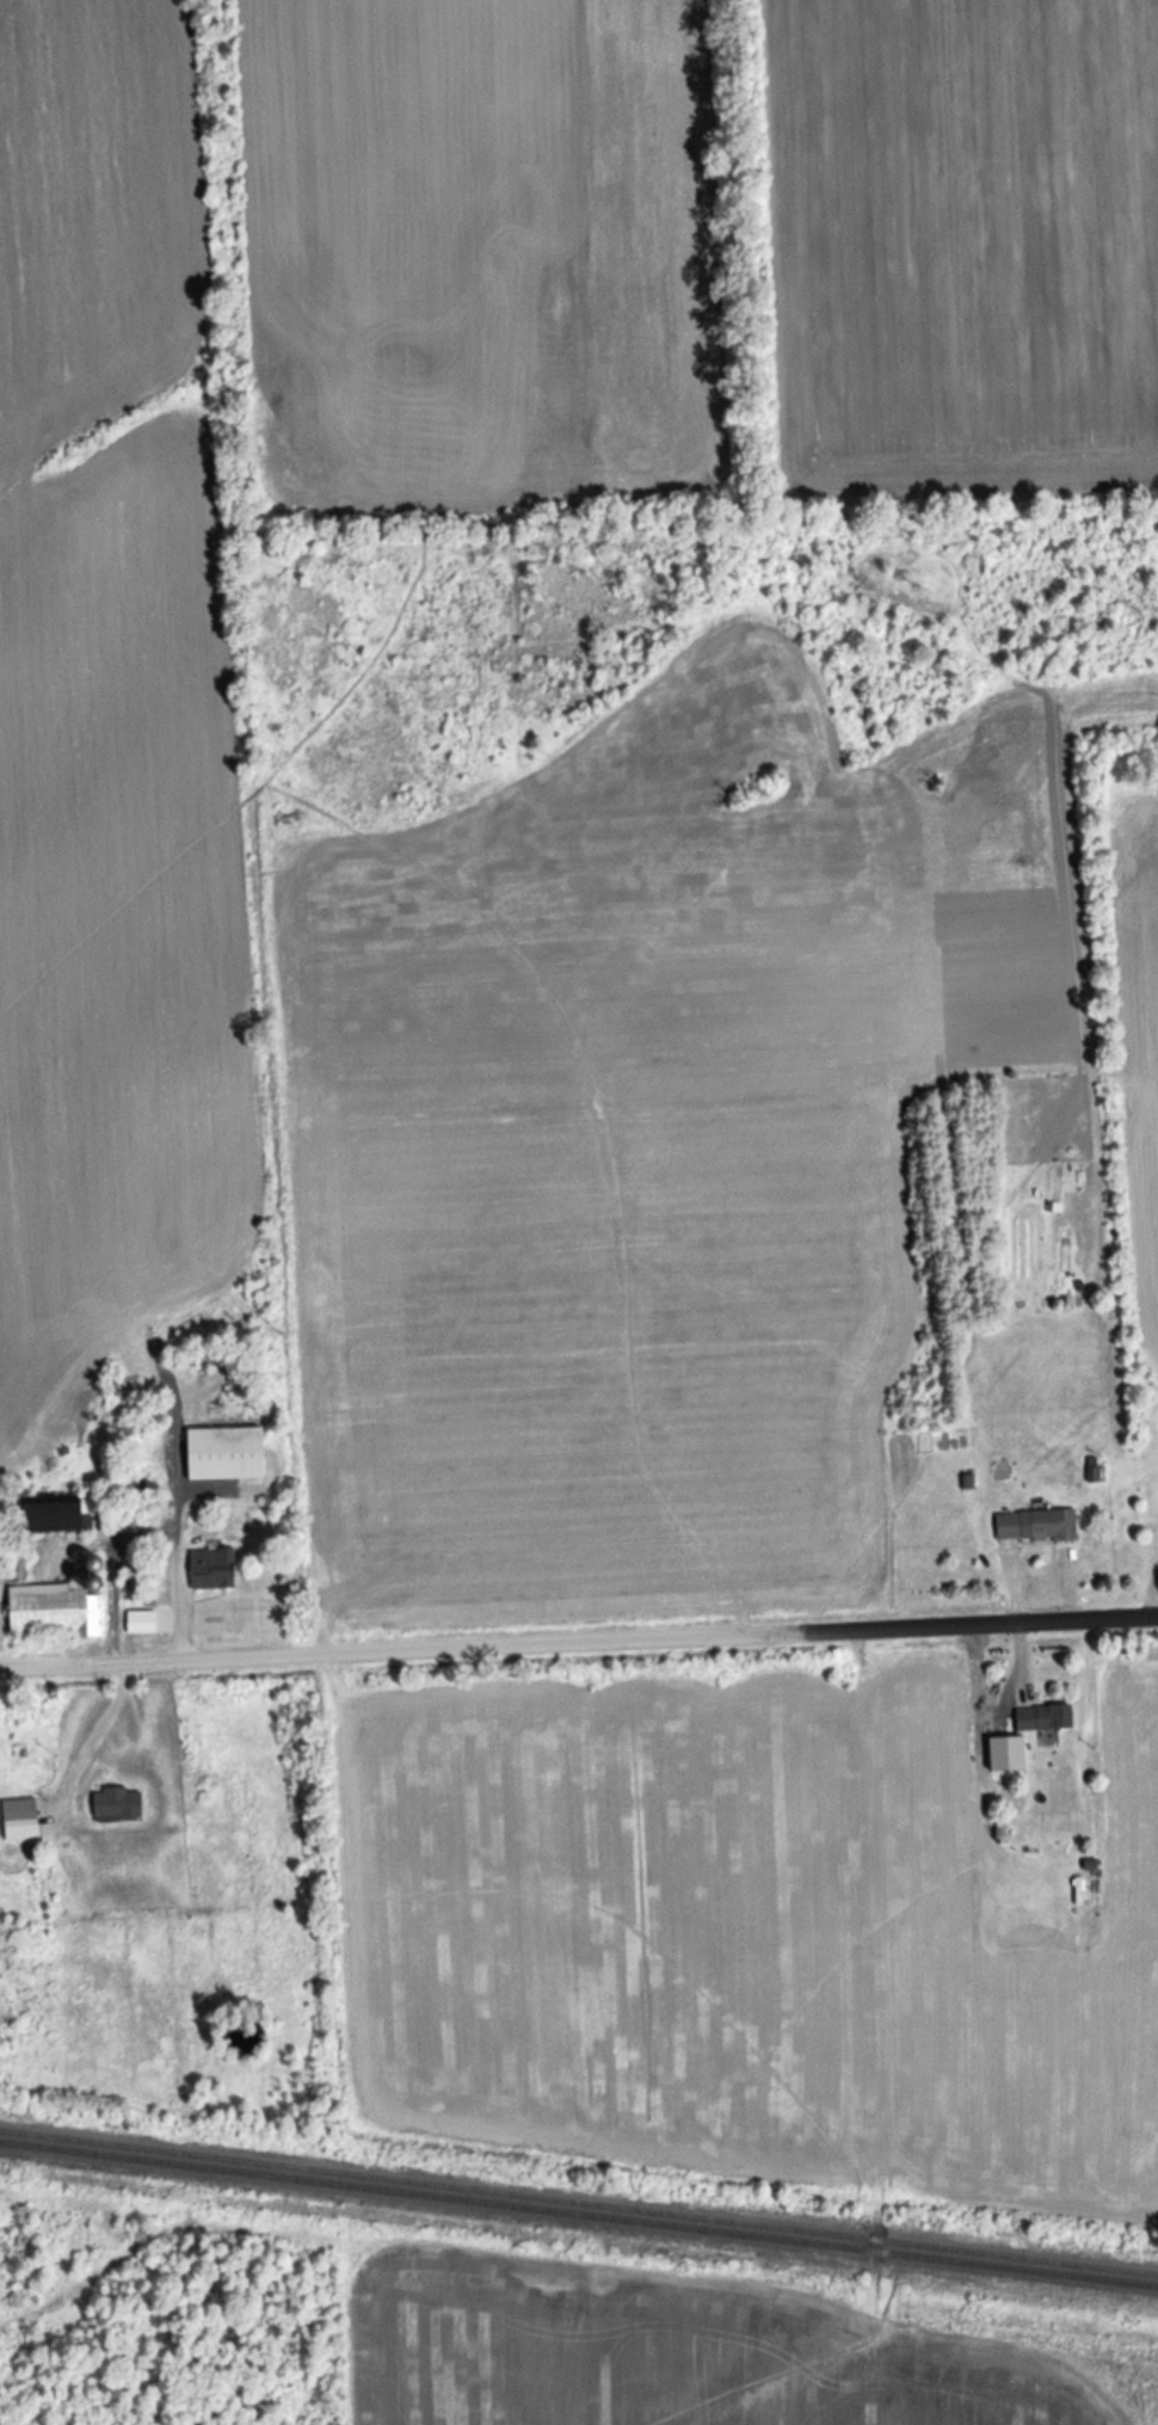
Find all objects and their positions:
building: (218, 1454)
building: (43, 1516)
building: (1031, 1526)
road: (170, 1537)
building: (208, 1569)
building: (50, 1605)
road: (1000, 1627)
road: (421, 1651)
building: (1039, 1718)
road: (85, 1737)
building: (112, 1805)
building: (16, 1820)
railway: (579, 2203)
railway: (579, 2214)

